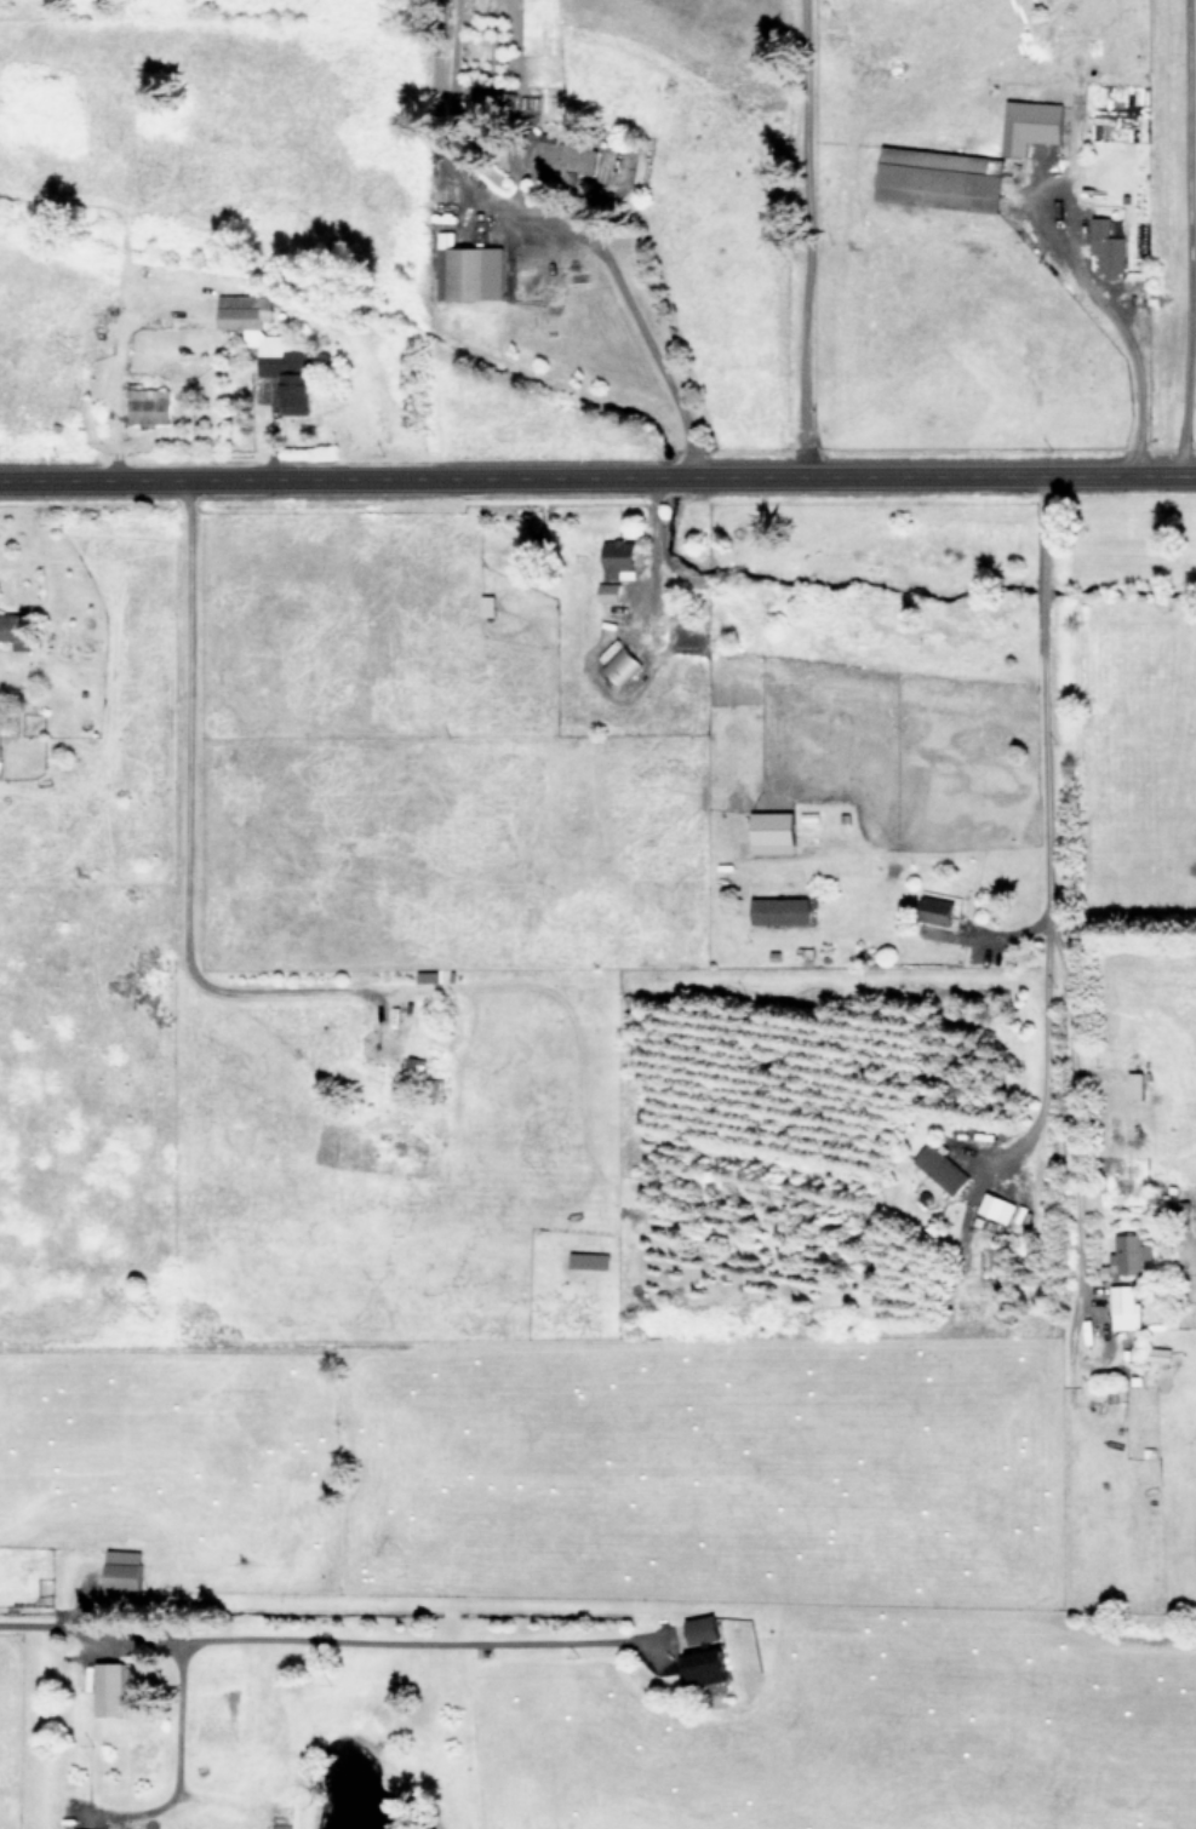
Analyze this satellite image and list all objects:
building: (1029, 124)
building: (559, 153)
building: (938, 177)
road: (799, 236)
road: (1185, 236)
building: (1105, 247)
building: (470, 270)
road: (631, 320)
road: (1108, 325)
building: (269, 350)
building: (148, 405)
road: (597, 474)
building: (624, 558)
building: (607, 590)
building: (13, 630)
building: (619, 664)
road: (1036, 814)
building: (769, 826)
building: (779, 908)
building: (934, 908)
building: (1134, 1084)
building: (939, 1166)
building: (995, 1206)
building: (1128, 1252)
building: (1123, 1306)
building: (120, 1569)
road: (305, 1630)
building: (702, 1651)
building: (107, 1686)

